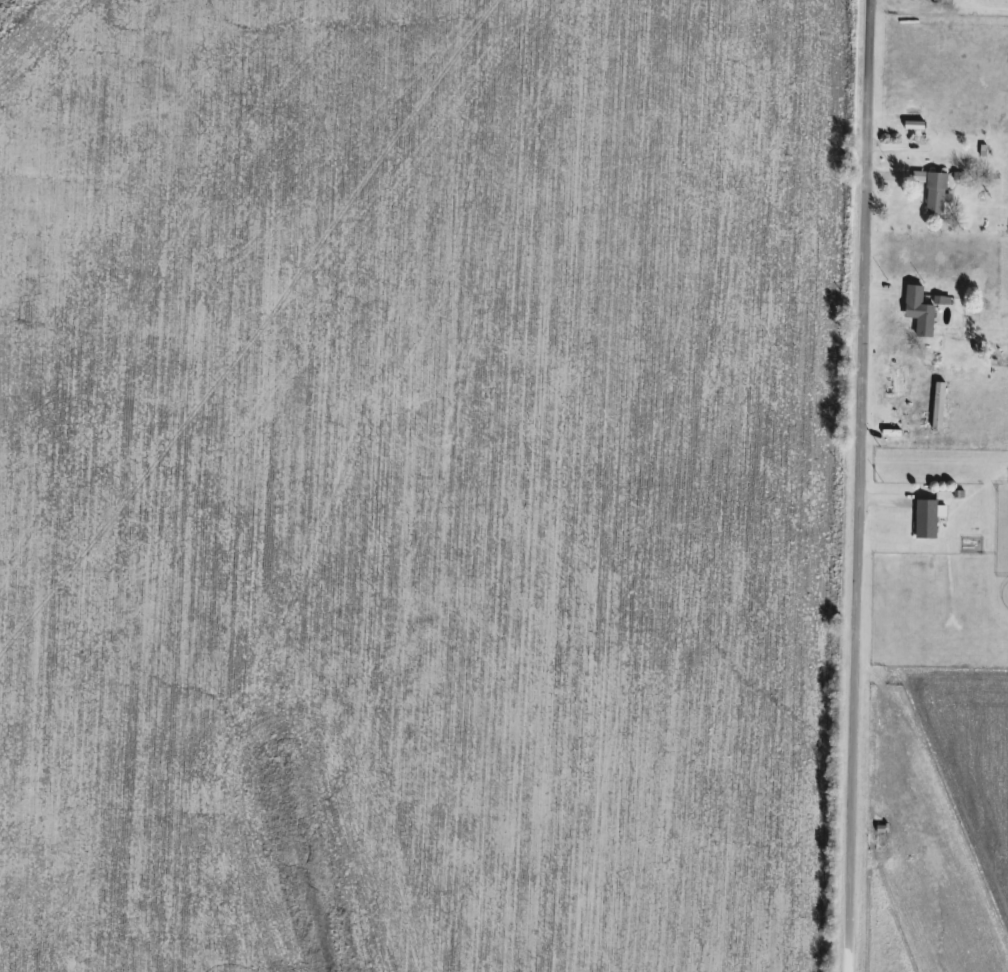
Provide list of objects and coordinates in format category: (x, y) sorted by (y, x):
building: (932, 190)
building: (918, 310)
road: (858, 474)
building: (925, 518)
road: (846, 960)

